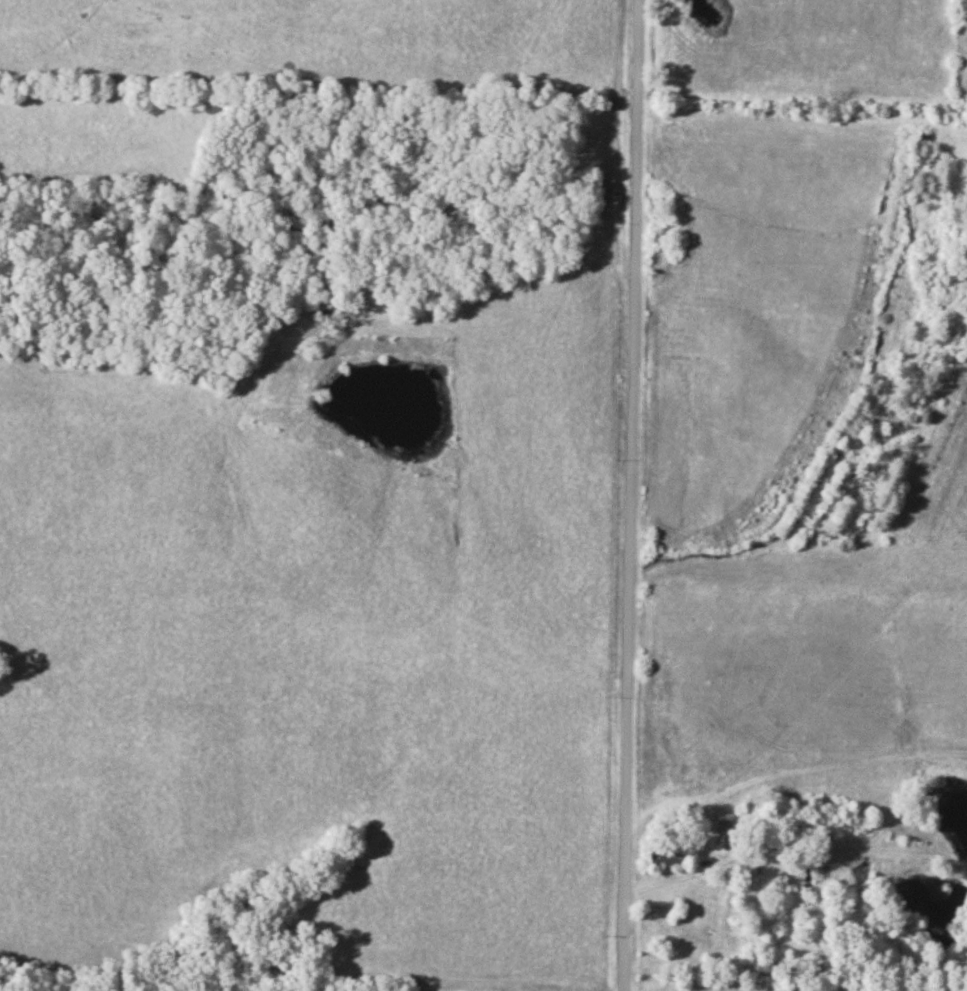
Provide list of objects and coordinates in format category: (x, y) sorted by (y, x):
road: (633, 495)
building: (726, 831)
building: (664, 855)

